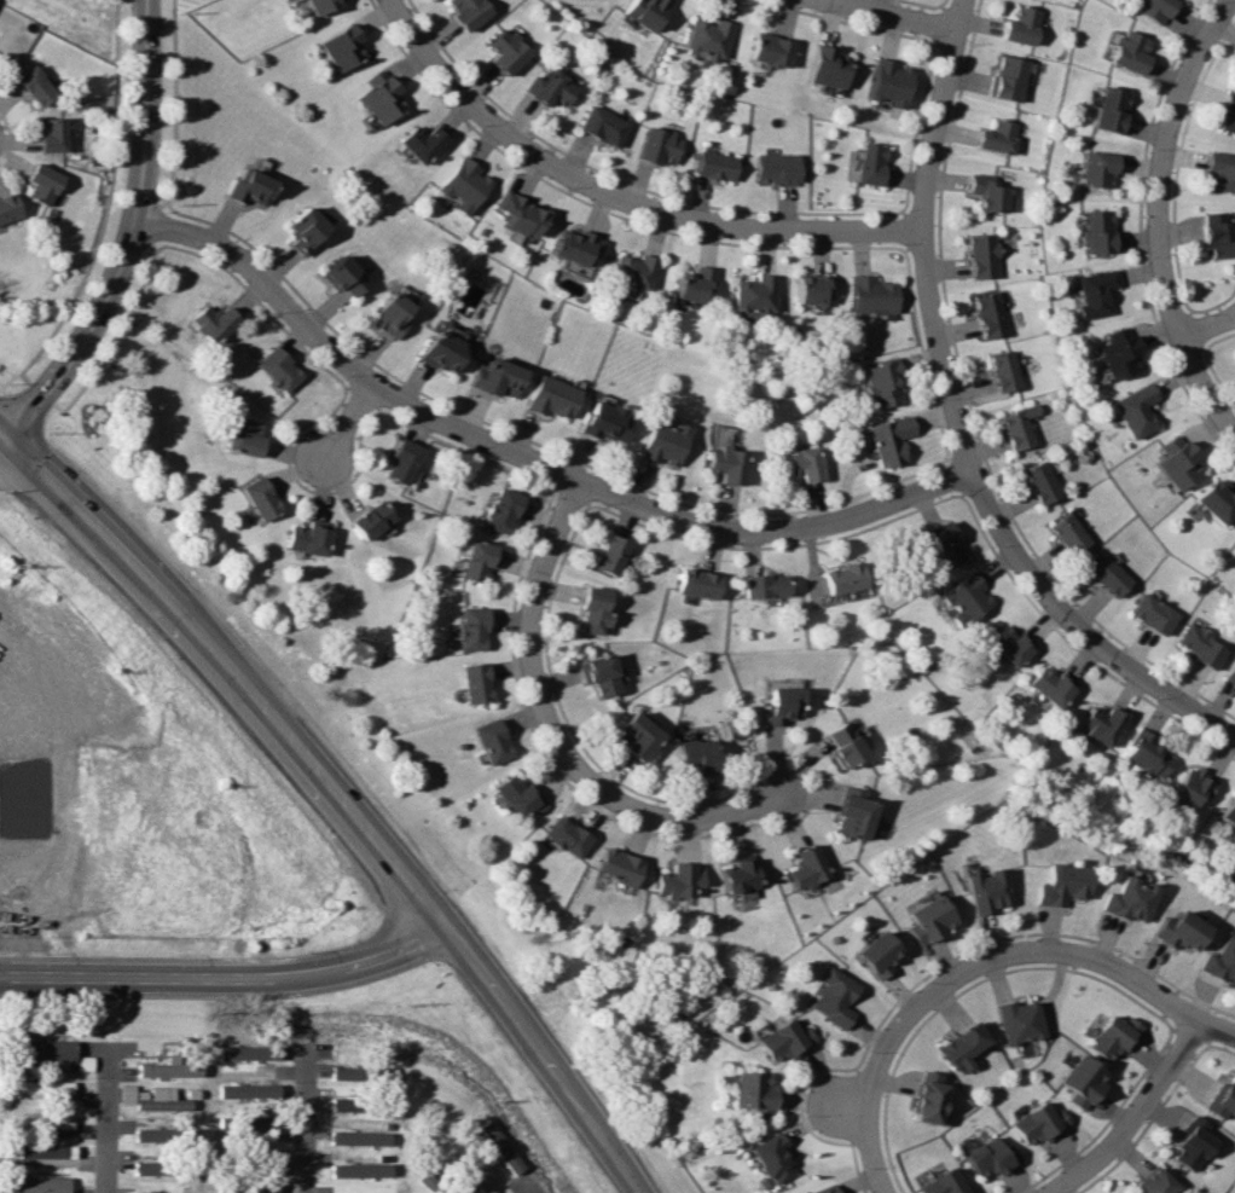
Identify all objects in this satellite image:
building: (314, 5)
building: (1153, 8)
building: (460, 12)
building: (640, 12)
road: (883, 15)
building: (1020, 25)
building: (705, 39)
building: (336, 48)
building: (765, 51)
building: (1127, 51)
building: (501, 52)
building: (822, 68)
building: (1007, 77)
building: (886, 85)
building: (36, 86)
building: (546, 89)
building: (375, 102)
building: (1108, 109)
building: (1228, 114)
building: (598, 127)
building: (52, 135)
building: (995, 135)
building: (413, 144)
building: (655, 149)
building: (865, 164)
building: (711, 166)
building: (771, 169)
building: (1094, 169)
building: (1219, 170)
building: (44, 184)
building: (458, 187)
building: (243, 190)
building: (985, 192)
road: (616, 196)
building: (8, 207)
building: (514, 216)
road: (1156, 218)
building: (296, 231)
building: (1094, 231)
building: (1216, 234)
road: (128, 236)
road: (918, 238)
building: (570, 248)
building: (979, 255)
building: (628, 274)
building: (335, 277)
building: (689, 286)
building: (806, 291)
building: (1091, 291)
building: (865, 296)
building: (748, 299)
building: (985, 314)
building: (383, 317)
building: (210, 323)
road: (1208, 329)
building: (434, 352)
building: (1114, 353)
building: (274, 370)
building: (1001, 370)
building: (492, 380)
building: (877, 384)
building: (547, 399)
building: (1131, 410)
road: (349, 423)
building: (602, 423)
building: (1015, 427)
traffic signals: (2, 436)
building: (240, 439)
building: (883, 441)
building: (660, 442)
road: (524, 459)
building: (1173, 462)
building: (399, 463)
building: (798, 464)
building: (720, 465)
building: (1038, 482)
building: (256, 499)
building: (1216, 503)
building: (498, 511)
building: (366, 521)
building: (1066, 533)
building: (305, 540)
building: (943, 543)
building: (607, 555)
building: (476, 562)
building: (1106, 575)
building: (841, 579)
building: (694, 585)
building: (760, 586)
building: (964, 597)
building: (588, 612)
building: (1149, 613)
road: (1080, 629)
building: (469, 630)
building: (1007, 644)
building: (1196, 644)
building: (1230, 672)
building: (595, 676)
building: (471, 683)
building: (1048, 685)
building: (777, 703)
building: (1097, 724)
road: (553, 734)
building: (630, 735)
building: (487, 741)
building: (836, 742)
building: (690, 755)
building: (1143, 755)
building: (515, 797)
road: (334, 799)
building: (1227, 811)
building: (848, 815)
building: (561, 836)
building: (613, 865)
building: (802, 867)
building: (735, 875)
building: (674, 879)
building: (1057, 884)
building: (984, 891)
building: (1124, 899)
building: (923, 919)
building: (1173, 931)
building: (875, 954)
building: (1219, 961)
road: (228, 977)
road: (1143, 988)
building: (831, 997)
building: (1016, 1021)
road: (898, 1026)
building: (1113, 1036)
building: (781, 1041)
building: (961, 1046)
building: (46, 1050)
building: (245, 1052)
building: (167, 1067)
building: (343, 1072)
building: (1080, 1081)
building: (44, 1085)
building: (245, 1090)
building: (124, 1093)
building: (750, 1093)
building: (926, 1098)
building: (158, 1100)
building: (1223, 1100)
building: (342, 1102)
road: (842, 1111)
road: (1133, 1116)
road: (111, 1118)
road: (303, 1118)
building: (47, 1122)
building: (254, 1122)
building: (1034, 1124)
building: (151, 1134)
building: (358, 1137)
building: (1191, 1145)
building: (501, 1146)
building: (44, 1149)
building: (263, 1154)
building: (988, 1157)
building: (769, 1159)
building: (149, 1168)
building: (358, 1169)
building: (477, 1181)
building: (39, 1183)
building: (939, 1183)
building: (1154, 1183)
building: (257, 1185)
road: (535, 1189)
building: (822, 1189)
building: (450, 1192)

